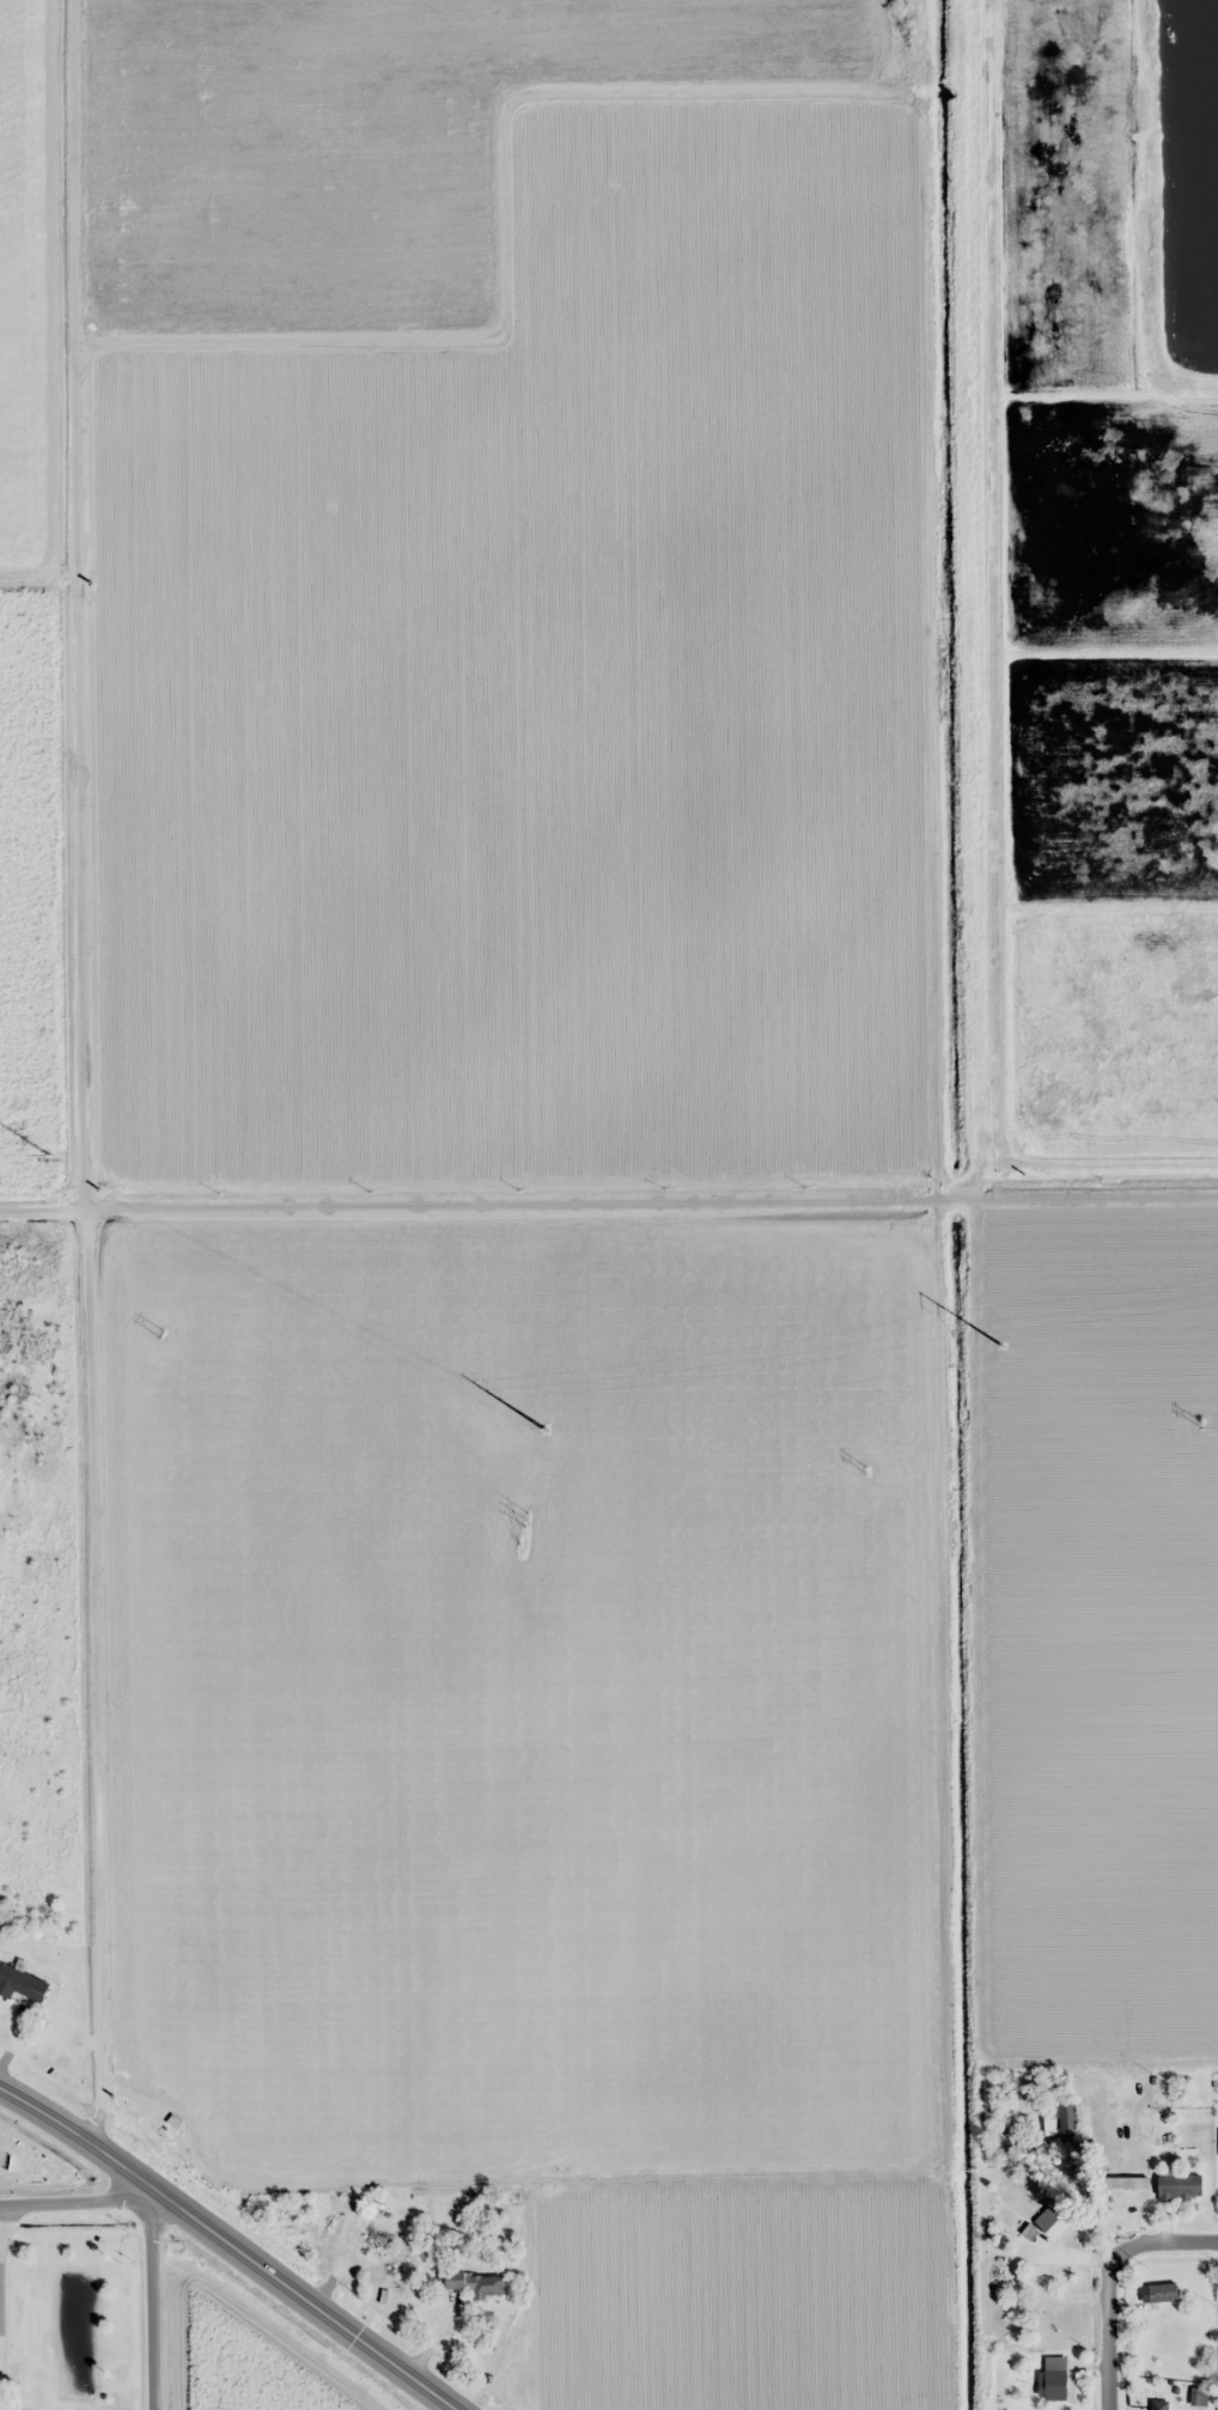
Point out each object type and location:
road: (84, 1072)
power tower: (49, 1156)
road: (608, 1200)
power tower: (162, 1334)
power tower: (999, 1345)
power tower: (1201, 1424)
power tower: (544, 1429)
power tower: (866, 1471)
power tower: (528, 1521)
building: (22, 1983)
building: (1060, 2118)
building: (1004, 2140)
building: (1180, 2186)
road: (81, 2202)
building: (1052, 2221)
building: (334, 2225)
building: (371, 2235)
road: (229, 2245)
road: (1108, 2281)
building: (479, 2283)
building: (1163, 2292)
road: (154, 2302)
building: (1054, 2385)
building: (1158, 2408)

